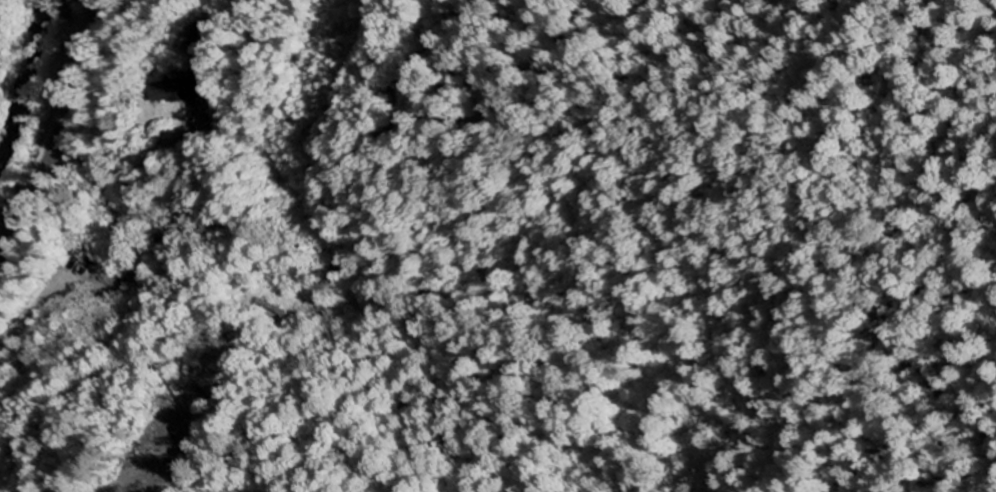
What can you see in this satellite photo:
building: (173, 91)
road: (60, 130)
road: (88, 277)

